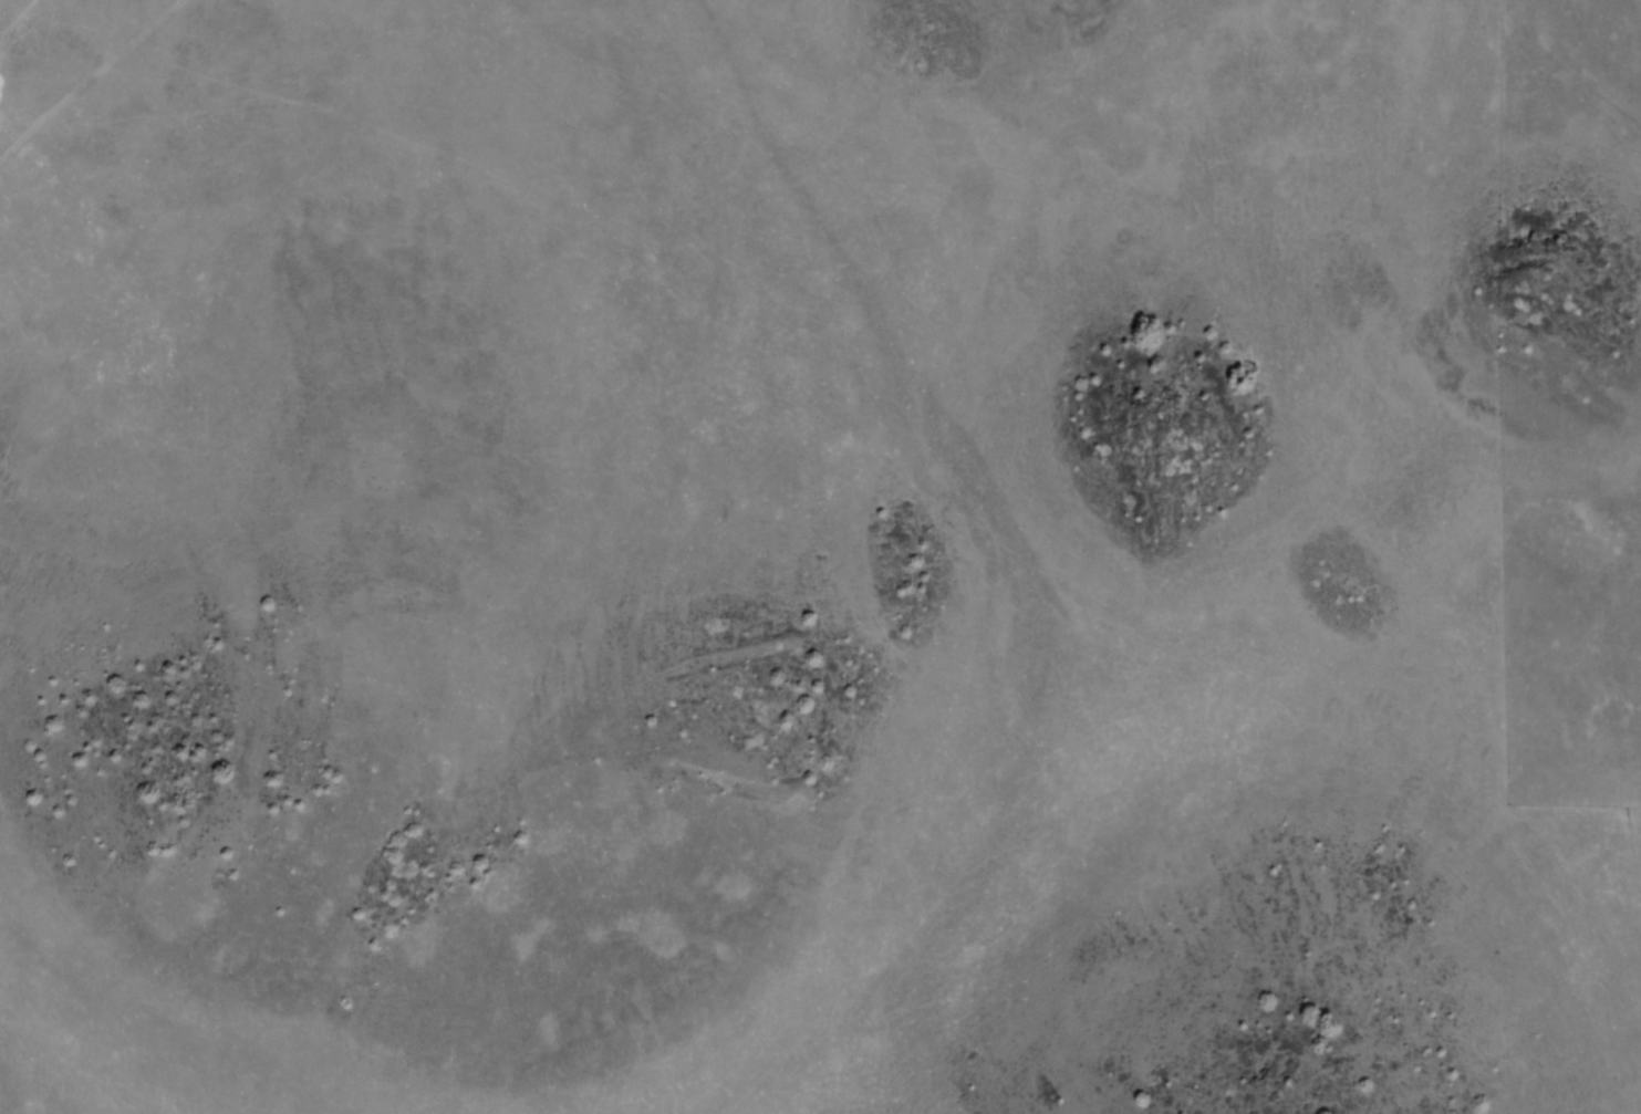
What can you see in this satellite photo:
road: (85, 76)

